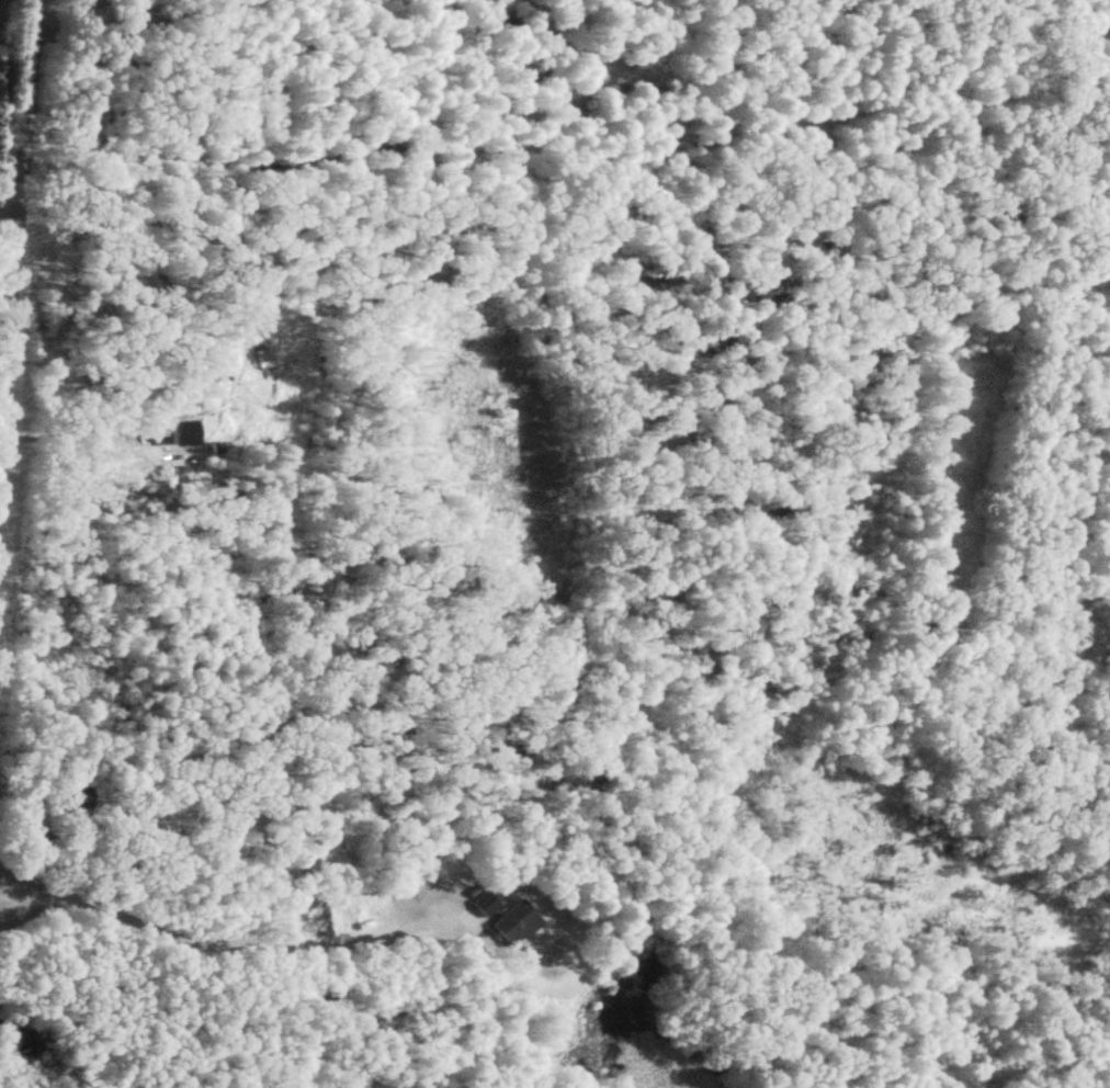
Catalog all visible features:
road: (10, 202)
road: (19, 203)
road: (67, 433)
building: (480, 904)
building: (508, 923)
road: (192, 938)

